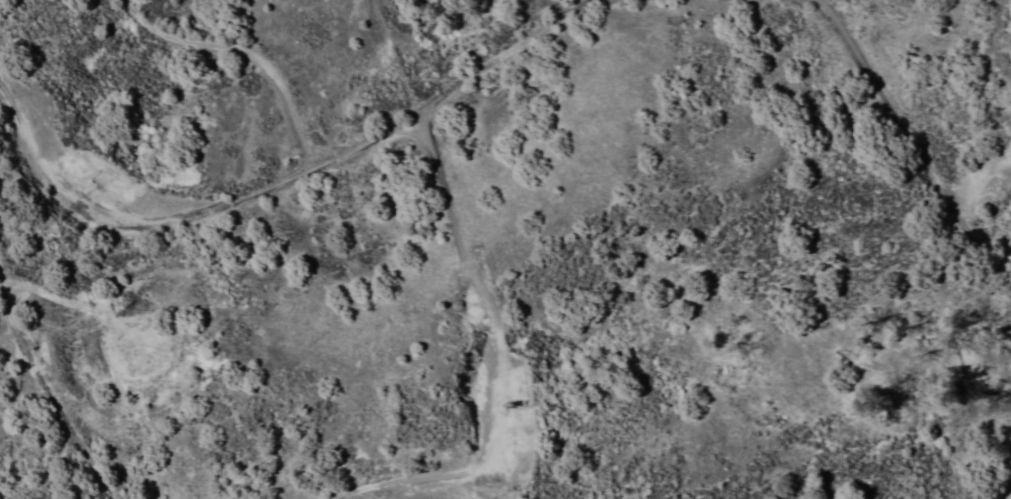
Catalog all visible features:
road: (241, 53)
road: (910, 146)
road: (283, 179)
road: (484, 363)
road: (47, 392)
road: (1006, 489)

